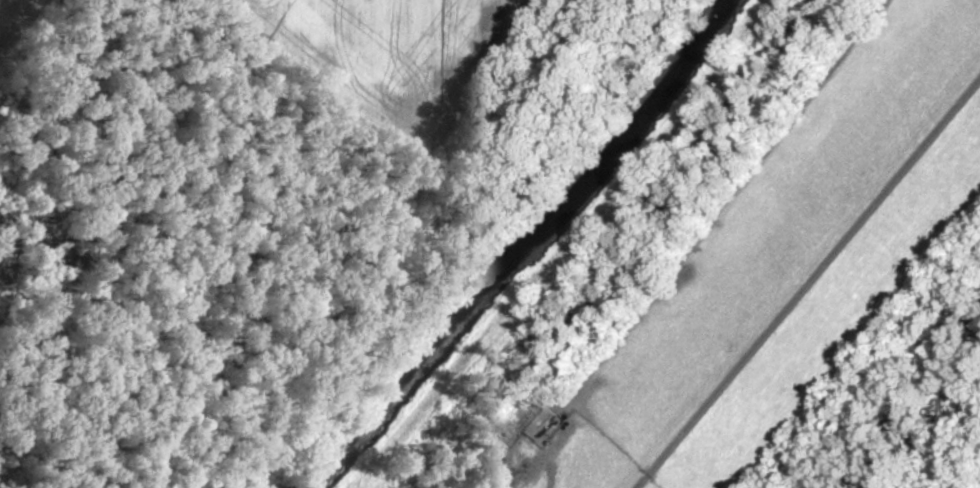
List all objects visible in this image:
road: (808, 282)

